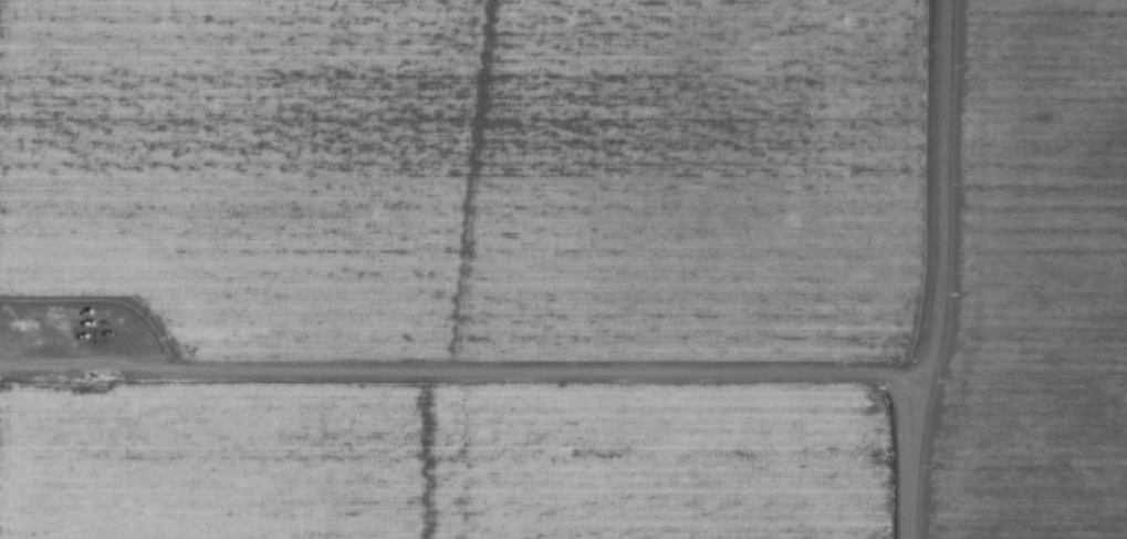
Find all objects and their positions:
road: (530, 373)

